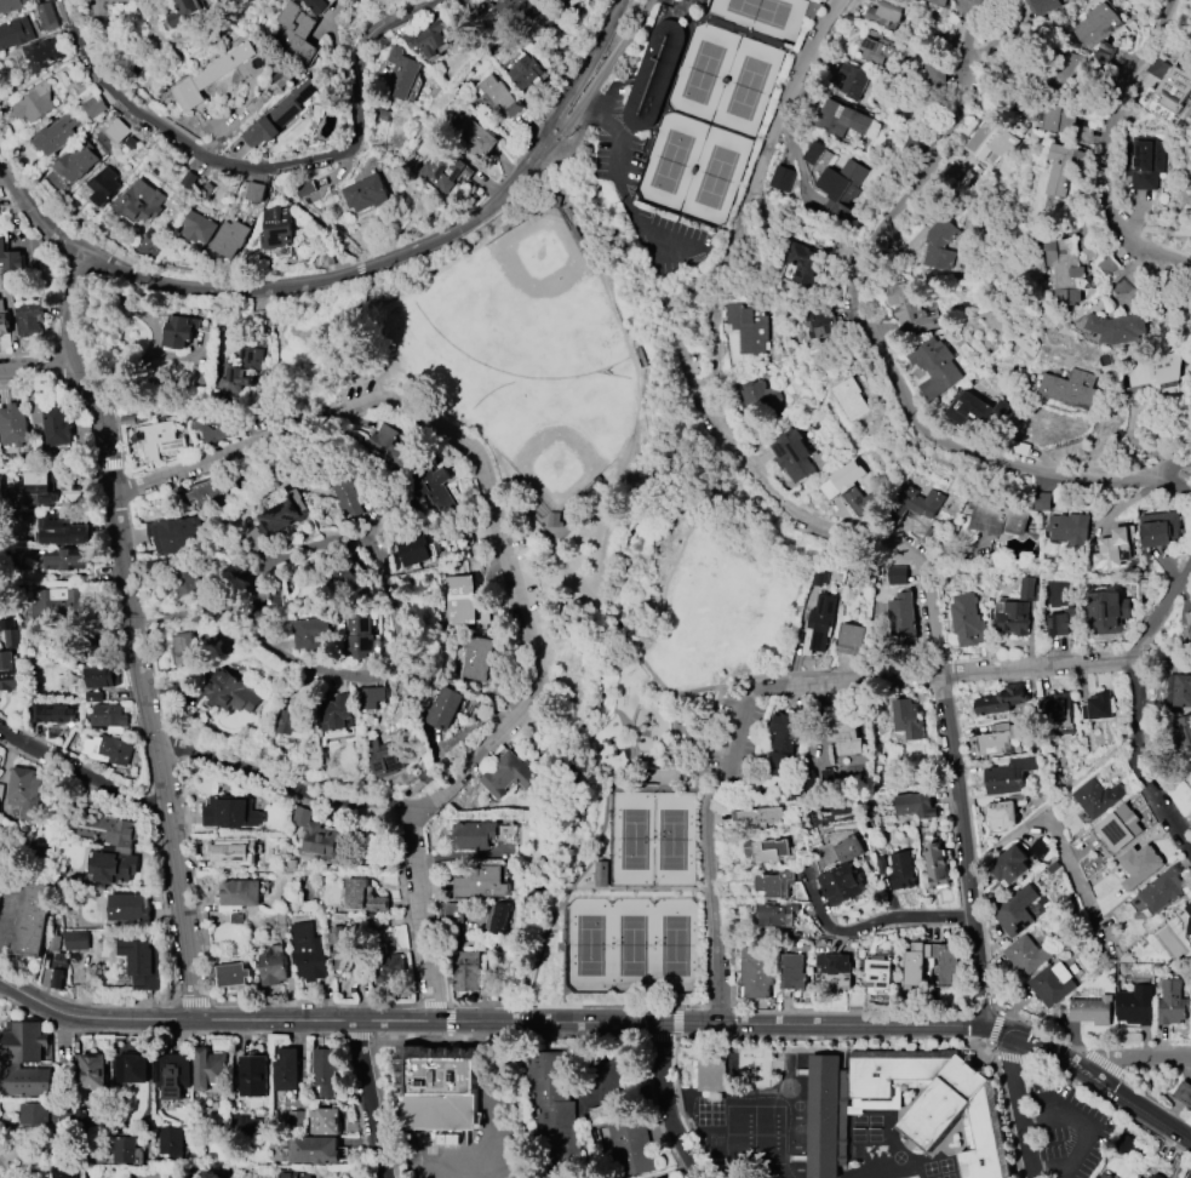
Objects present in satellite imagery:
building: (560, 0)
building: (699, 0)
building: (924, 0)
building: (939, 1)
building: (11, 5)
building: (314, 5)
building: (1046, 5)
building: (105, 6)
building: (511, 8)
building: (473, 10)
building: (185, 12)
building: (887, 13)
building: (47, 16)
park: (761, 16)
building: (1095, 25)
building: (13, 33)
building: (294, 34)
building: (426, 39)
building: (875, 48)
building: (46, 52)
building: (1066, 69)
building: (528, 73)
building: (399, 74)
building: (653, 74)
building: (937, 74)
building: (208, 75)
road: (41, 76)
road: (599, 76)
building: (852, 80)
building: (1167, 88)
building: (497, 96)
road: (606, 97)
building: (34, 102)
building: (95, 107)
building: (279, 114)
building: (842, 119)
building: (1057, 119)
park: (708, 126)
building: (119, 131)
building: (57, 133)
building: (474, 137)
building: (985, 139)
building: (916, 145)
road: (1105, 151)
road: (760, 159)
building: (75, 162)
building: (1146, 162)
road: (262, 166)
building: (441, 168)
building: (1058, 175)
building: (781, 178)
building: (103, 185)
building: (840, 190)
building: (254, 191)
building: (365, 193)
road: (618, 193)
building: (138, 201)
road: (35, 213)
building: (197, 228)
building: (275, 228)
building: (229, 238)
building: (941, 245)
road: (1175, 252)
park: (543, 255)
building: (10, 259)
road: (408, 261)
building: (803, 265)
building: (1063, 269)
road: (73, 310)
building: (911, 310)
building: (28, 319)
building: (4, 321)
building: (748, 327)
building: (1117, 327)
building: (820, 330)
road: (869, 330)
building: (178, 331)
road: (27, 354)
road: (36, 365)
building: (934, 367)
building: (1152, 370)
building: (241, 373)
road: (35, 382)
road: (636, 383)
building: (1070, 389)
building: (761, 399)
building: (849, 399)
building: (977, 410)
building: (51, 419)
building: (12, 425)
building: (212, 430)
road: (87, 439)
road: (120, 439)
building: (158, 439)
building: (386, 445)
building: (792, 456)
park: (563, 458)
road: (1179, 463)
road: (109, 465)
road: (486, 476)
road: (1179, 476)
road: (762, 480)
building: (38, 487)
road: (125, 488)
building: (855, 488)
building: (434, 490)
building: (206, 491)
building: (348, 498)
building: (1043, 502)
building: (917, 504)
building: (285, 513)
building: (997, 515)
building: (58, 528)
building: (1069, 528)
building: (1157, 528)
building: (174, 536)
building: (412, 550)
building: (1113, 550)
building: (65, 560)
road: (384, 565)
park: (591, 568)
building: (897, 574)
building: (345, 581)
building: (1027, 590)
building: (280, 600)
building: (463, 602)
building: (56, 605)
building: (1104, 610)
road: (187, 613)
building: (903, 616)
building: (1012, 616)
building: (966, 621)
building: (820, 623)
building: (1057, 624)
building: (8, 633)
building: (311, 633)
building: (360, 636)
building: (852, 640)
road: (625, 645)
building: (183, 648)
building: (476, 658)
building: (7, 673)
building: (102, 676)
road: (947, 676)
building: (1180, 688)
road: (145, 690)
road: (699, 690)
building: (229, 692)
building: (371, 697)
road: (1139, 698)
building: (1001, 699)
building: (1096, 707)
building: (443, 709)
building: (55, 713)
building: (338, 713)
building: (1057, 713)
building: (107, 715)
building: (907, 717)
building: (292, 722)
building: (842, 732)
building: (1184, 733)
road: (740, 737)
building: (997, 738)
building: (783, 744)
building: (108, 749)
building: (384, 759)
road: (82, 772)
building: (506, 774)
building: (1009, 777)
road: (280, 784)
building: (0, 790)
building: (23, 791)
road: (1057, 796)
building: (1098, 797)
building: (916, 805)
road: (960, 805)
building: (230, 812)
building: (1003, 814)
building: (755, 818)
building: (0, 819)
building: (104, 828)
building: (1118, 828)
road: (1055, 831)
building: (471, 835)
building: (317, 837)
building: (115, 850)
building: (767, 850)
building: (233, 853)
building: (1139, 864)
building: (935, 865)
building: (1010, 865)
building: (111, 868)
building: (903, 870)
building: (846, 874)
building: (479, 882)
building: (777, 883)
building: (1163, 888)
building: (239, 892)
building: (362, 898)
park: (641, 898)
road: (716, 903)
building: (127, 909)
building: (1014, 910)
building: (1187, 913)
building: (778, 914)
building: (499, 916)
road: (165, 917)
road: (423, 917)
building: (33, 919)
road: (869, 928)
building: (1189, 932)
road: (199, 934)
building: (75, 940)
building: (340, 950)
building: (305, 953)
building: (1025, 955)
building: (142, 962)
building: (270, 966)
building: (388, 968)
building: (836, 968)
building: (58, 970)
building: (465, 970)
building: (944, 970)
building: (754, 971)
building: (794, 972)
building: (877, 973)
building: (231, 974)
building: (1050, 984)
road: (1, 997)
road: (190, 997)
road: (980, 1000)
building: (1172, 1003)
road: (435, 1005)
road: (508, 1006)
building: (1135, 1006)
building: (1090, 1010)
road: (892, 1012)
road: (452, 1020)
road: (605, 1022)
road: (164, 1035)
road: (354, 1035)
road: (525, 1036)
road: (900, 1039)
road: (1092, 1056)
road: (1139, 1058)
building: (24, 1059)
building: (132, 1069)
building: (207, 1069)
building: (285, 1069)
building: (95, 1071)
building: (325, 1071)
building: (710, 1071)
building: (172, 1075)
building: (253, 1076)
building: (440, 1088)
building: (1184, 1092)
road: (372, 1099)
road: (1055, 1102)
road: (666, 1104)
road: (1018, 1106)
building: (552, 1108)
road: (685, 1111)
building: (36, 1114)
building: (605, 1114)
building: (931, 1114)
road: (491, 1116)
building: (325, 1121)
road: (1083, 1131)
building: (171, 1143)
building: (631, 1146)
building: (126, 1150)
building: (315, 1150)
road: (453, 1151)
road: (4, 1171)
building: (64, 1173)
building: (292, 1173)
building: (1101, 1176)
building: (1156, 1176)
building: (662, 1177)
building: (1139, 1177)
building: (1147, 1177)

